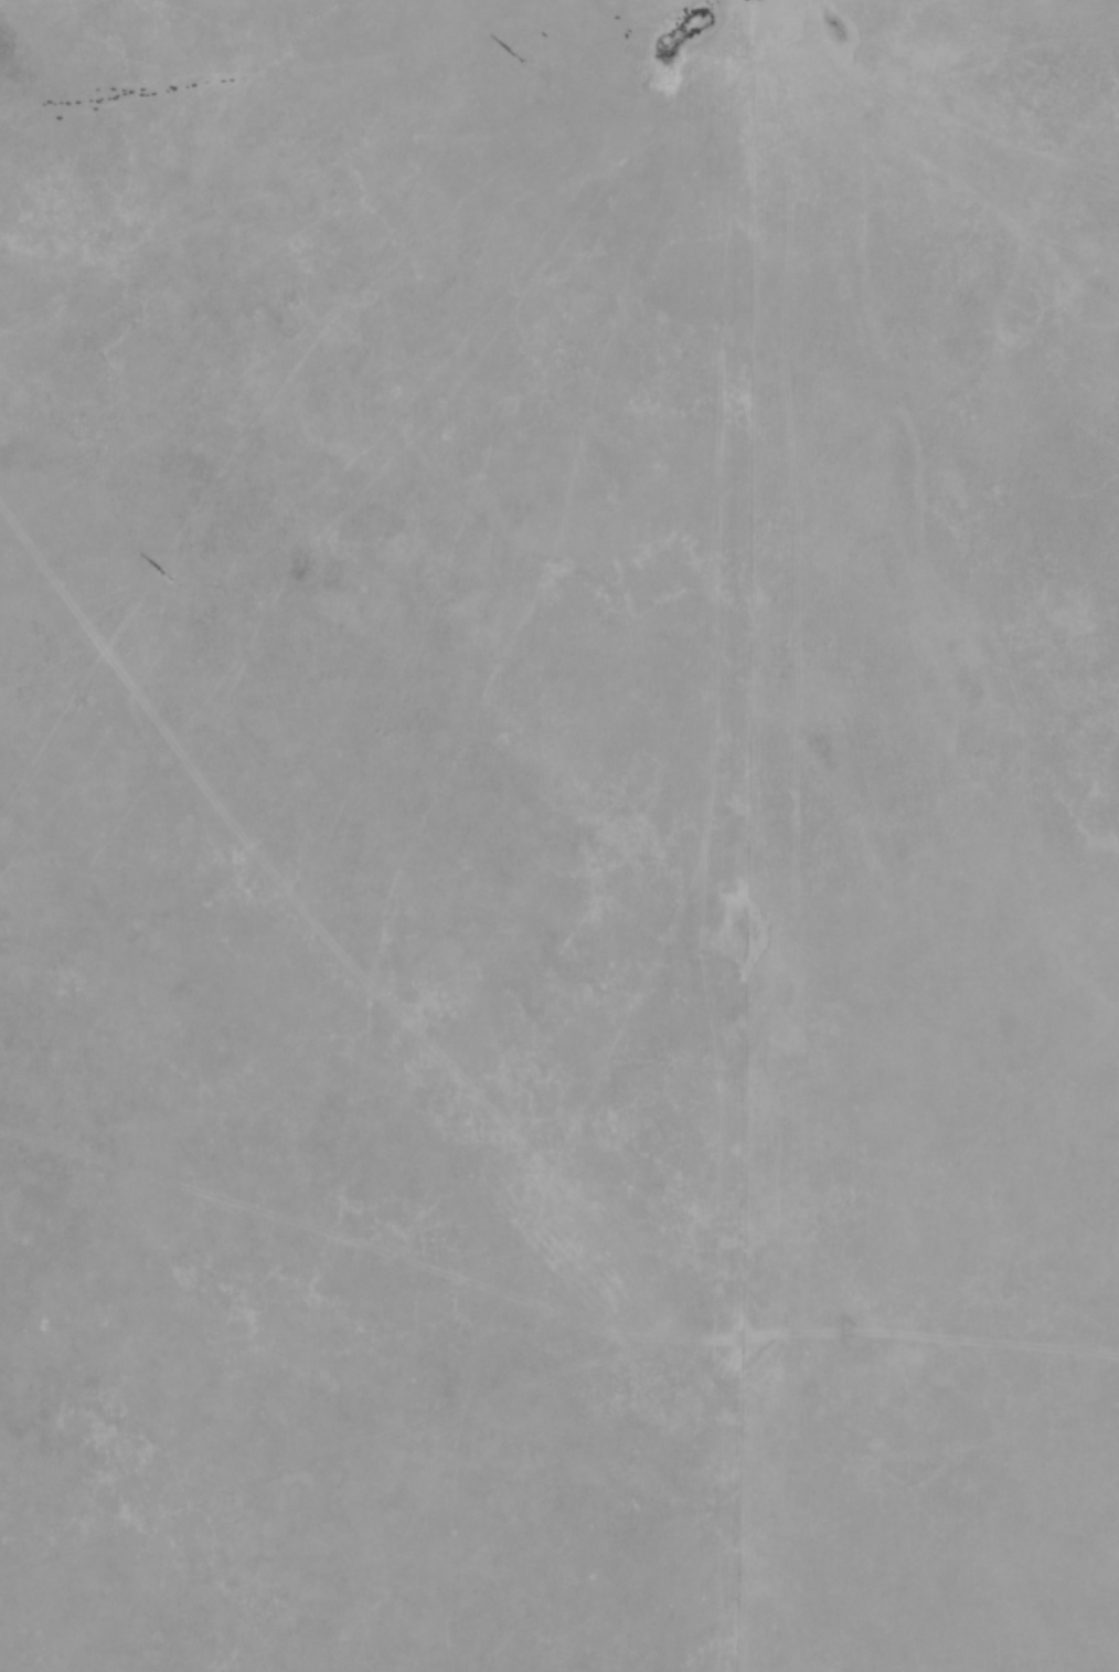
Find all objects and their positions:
power tower: (516, 57)
power tower: (167, 575)

